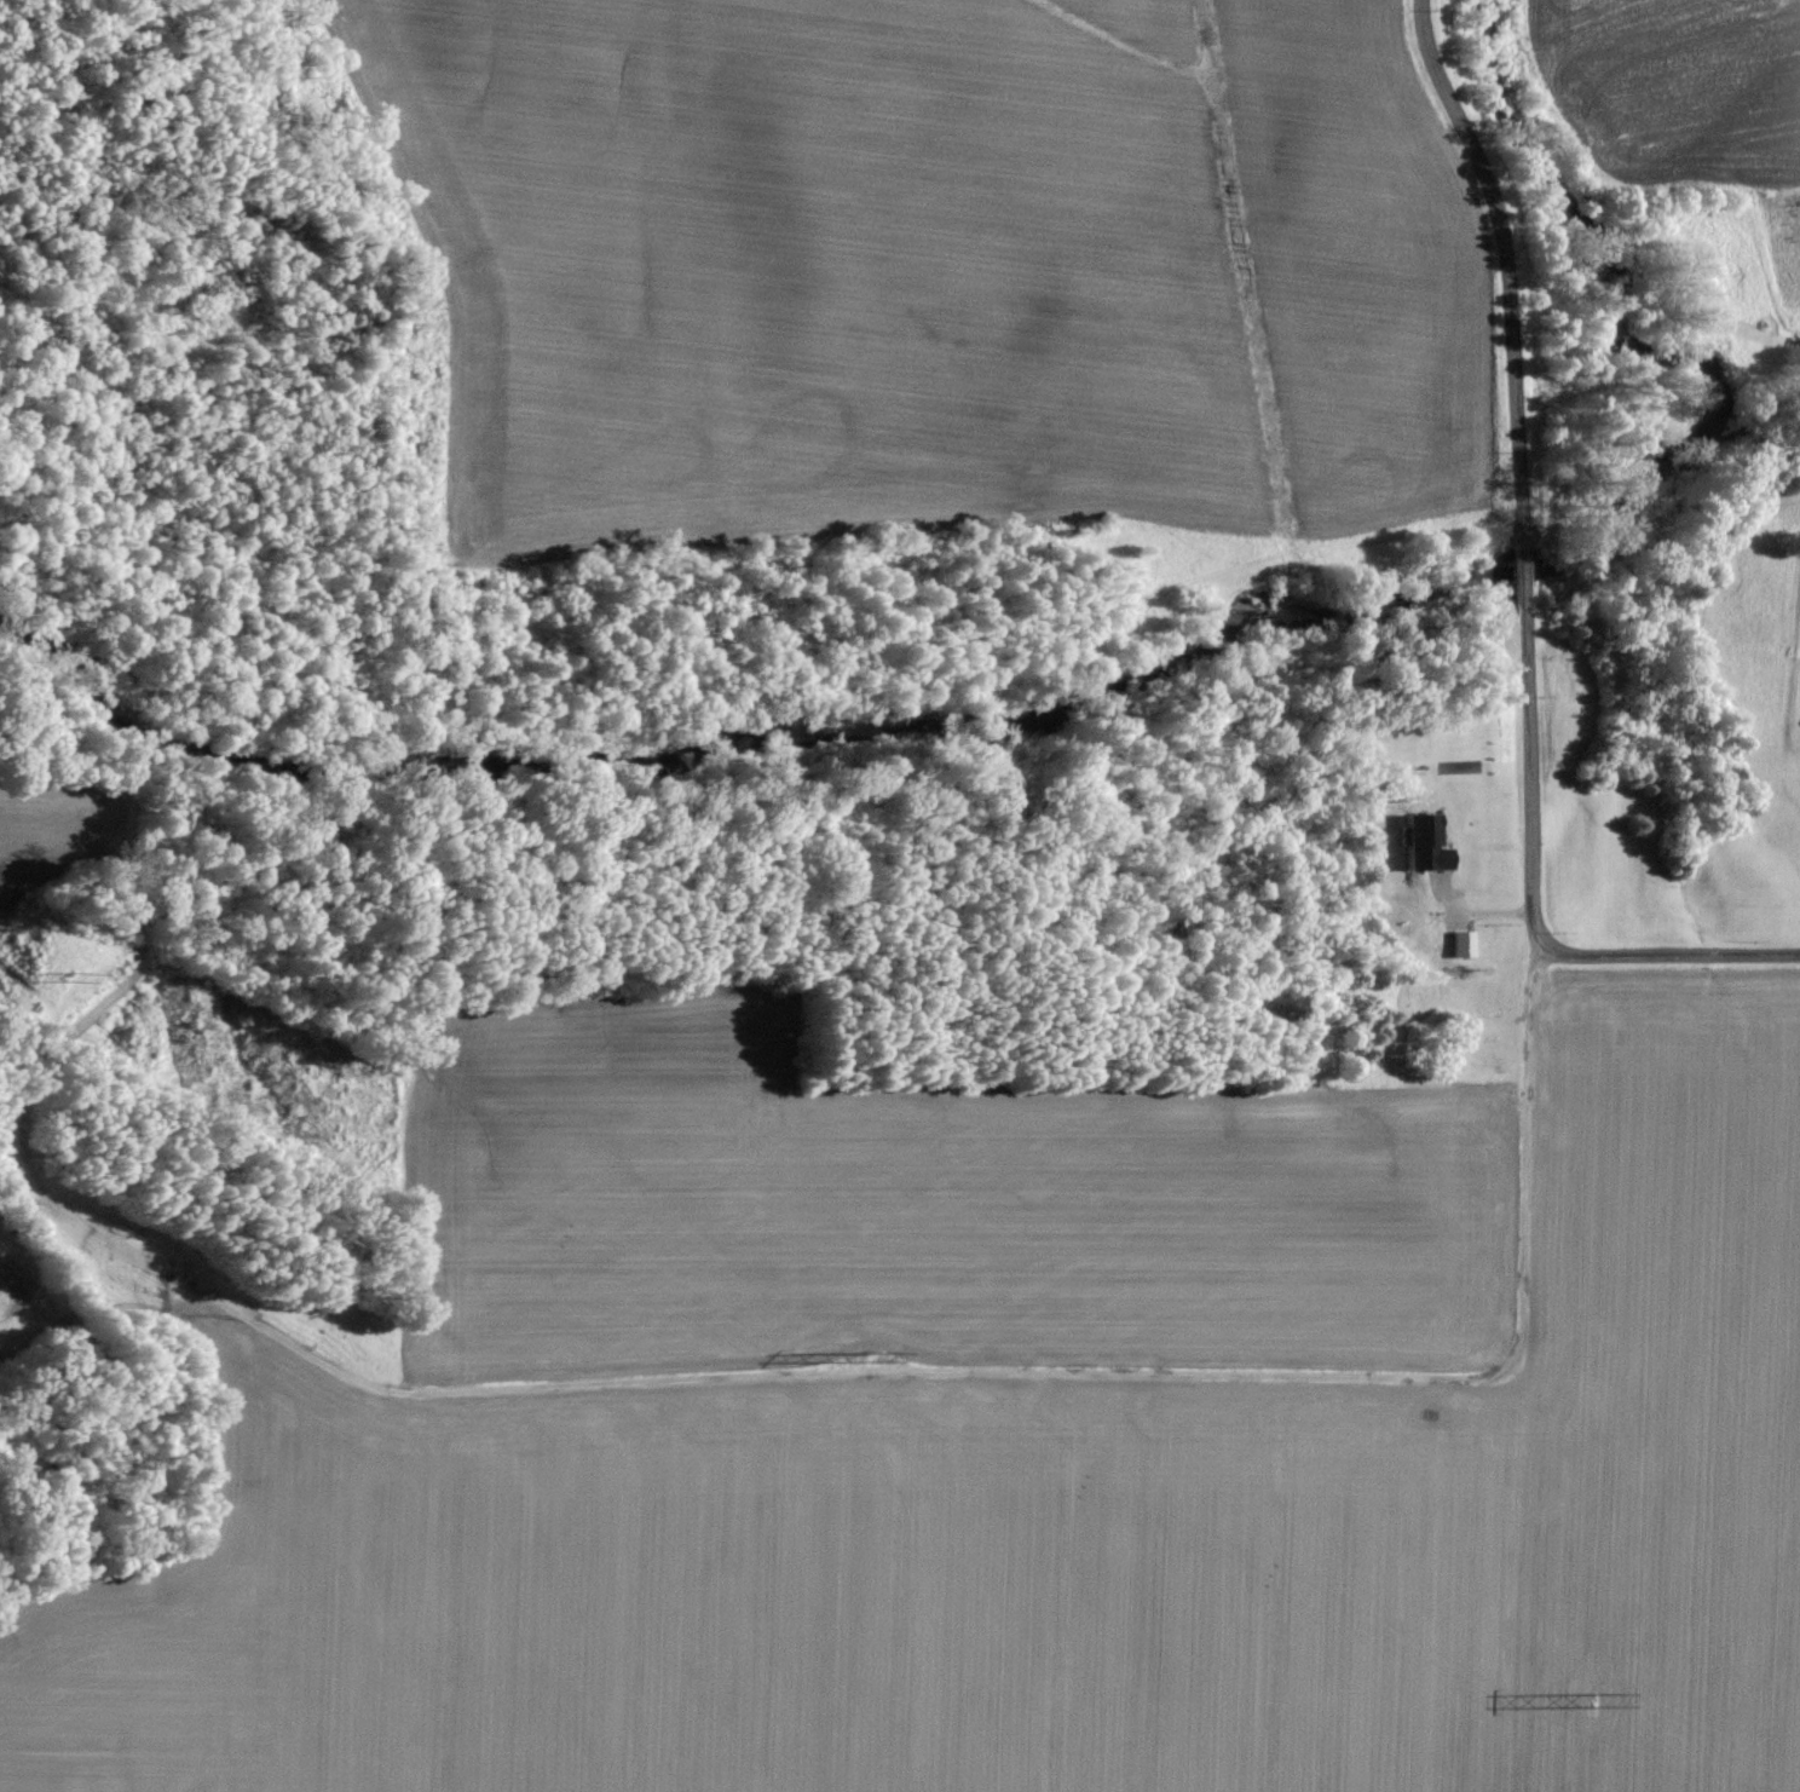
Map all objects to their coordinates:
road: (1501, 273)
road: (1524, 572)
building: (1425, 843)
road: (1533, 894)
building: (1464, 945)
power tower: (106, 981)
power tower: (878, 1352)
road: (773, 1378)
power tower: (1599, 1699)

